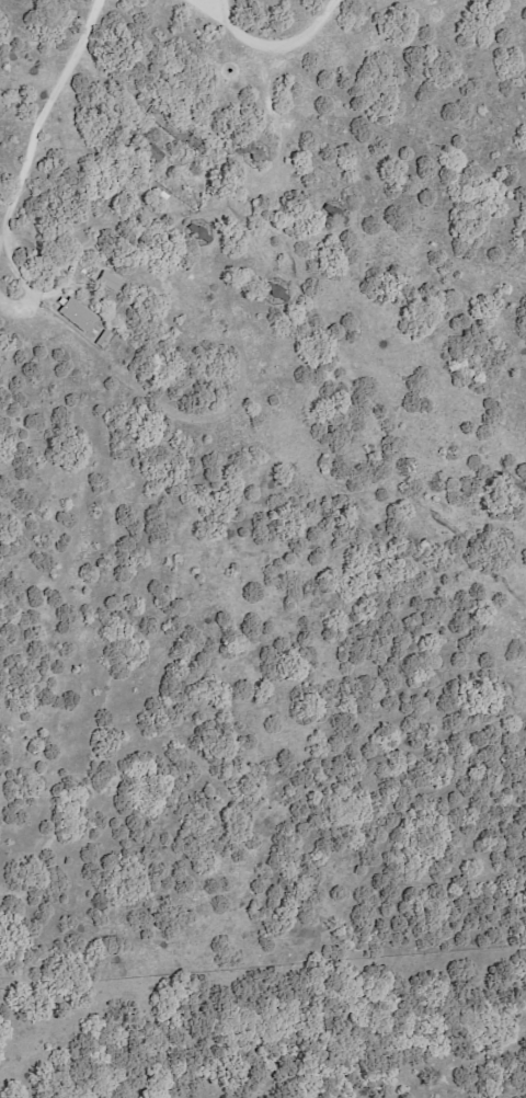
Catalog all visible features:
road: (204, 5)
road: (273, 45)
building: (181, 130)
road: (31, 142)
building: (155, 152)
building: (258, 155)
building: (198, 232)
building: (277, 291)
building: (76, 313)

